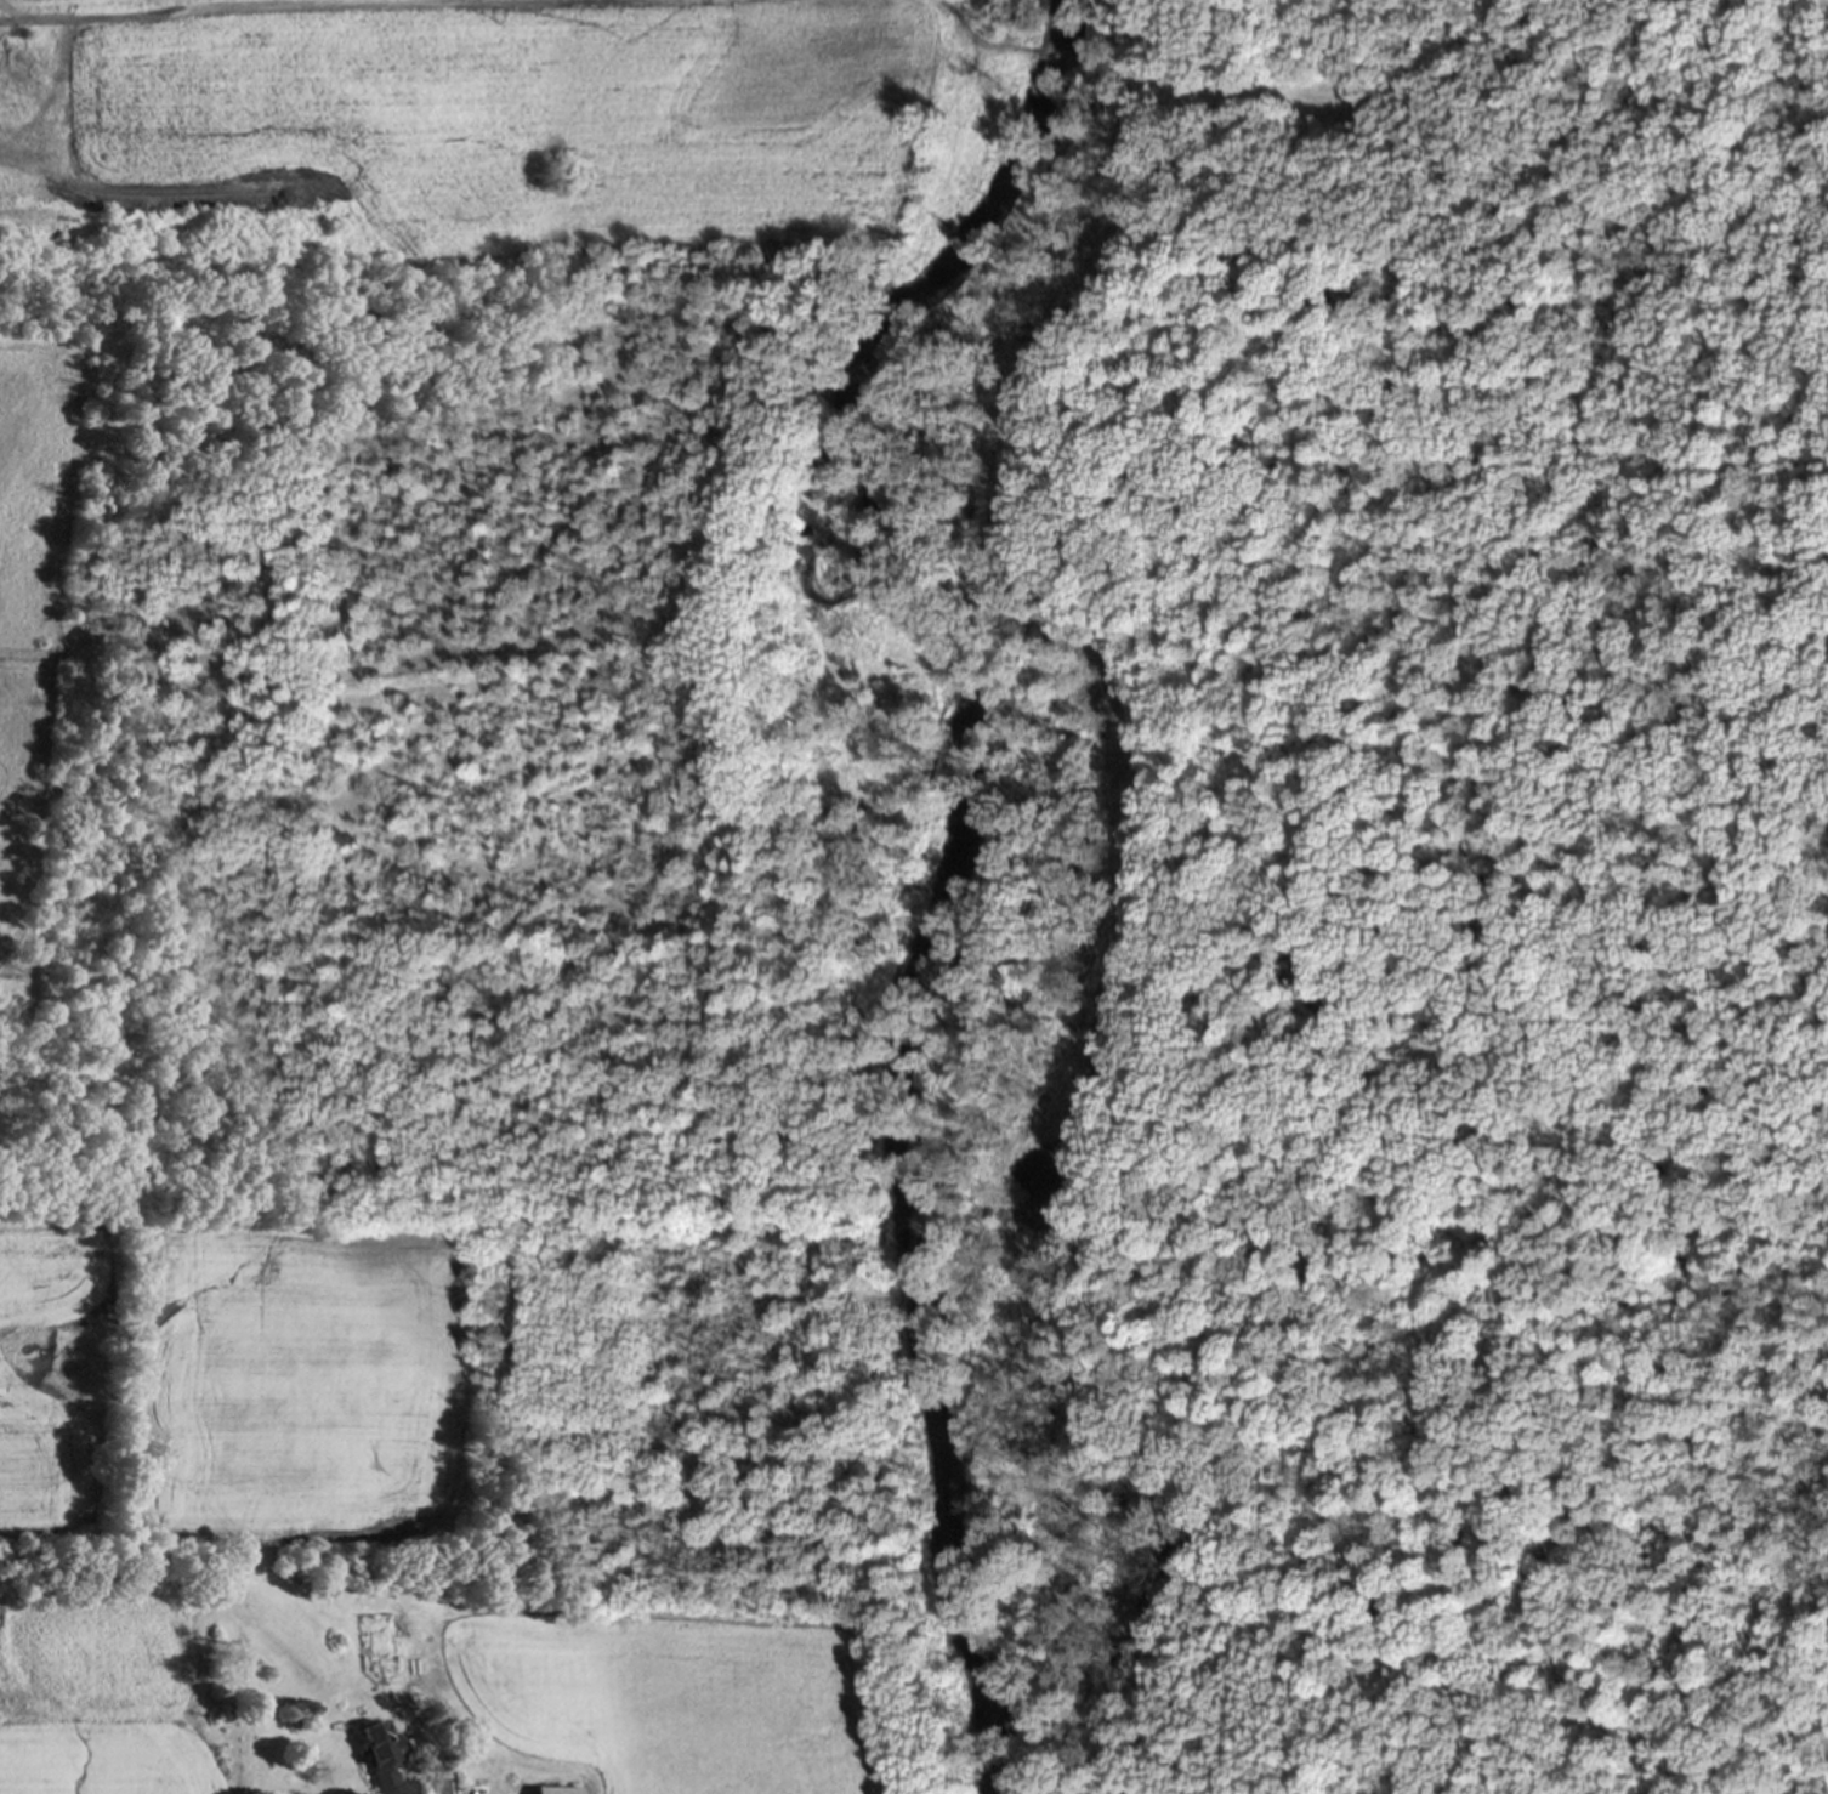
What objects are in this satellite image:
park: (914, 8)
building: (377, 1750)

